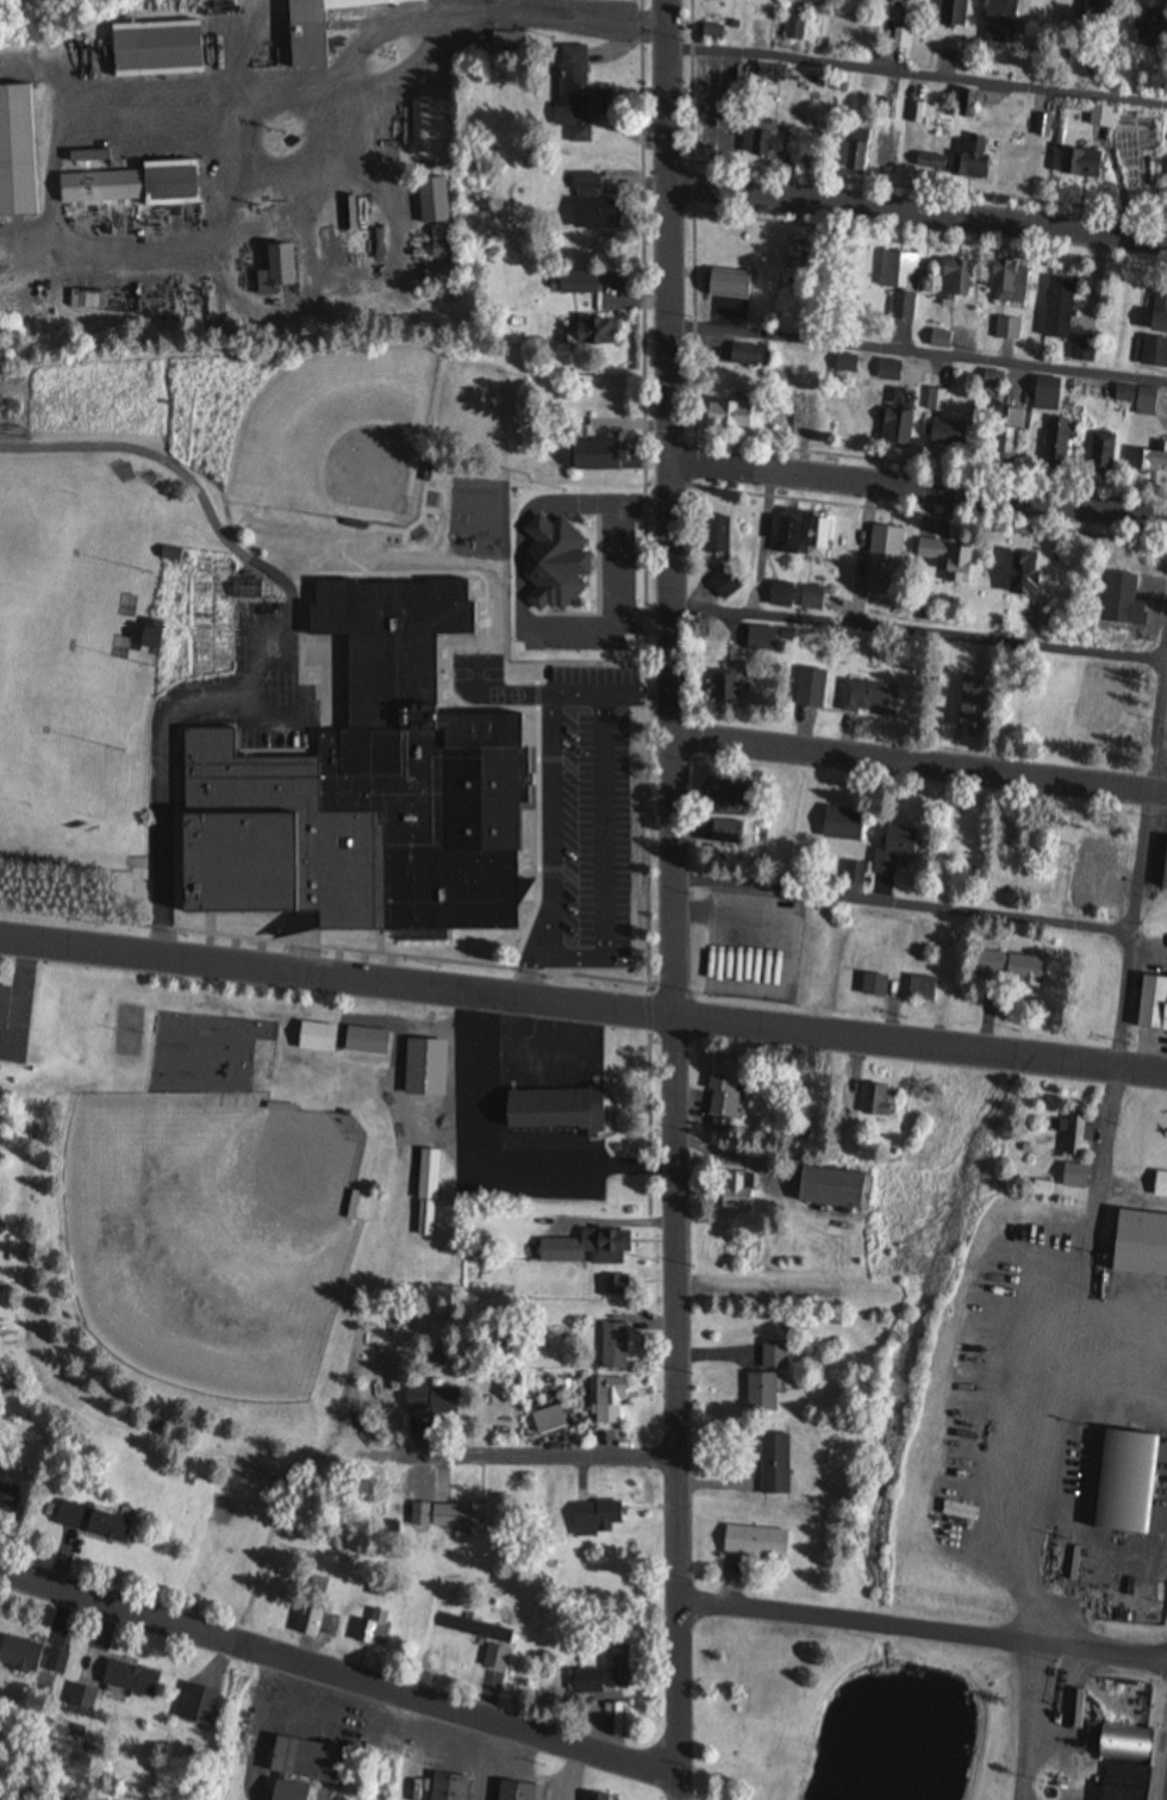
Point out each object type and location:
building: (803, 0)
building: (886, 0)
building: (950, 14)
building: (1097, 15)
building: (998, 21)
building: (319, 27)
building: (1146, 27)
building: (794, 30)
building: (711, 33)
building: (900, 39)
building: (154, 50)
road: (918, 75)
building: (573, 92)
building: (966, 105)
building: (917, 113)
building: (1099, 117)
building: (767, 141)
building: (856, 151)
building: (17, 152)
building: (882, 152)
building: (972, 158)
building: (929, 162)
building: (1081, 164)
building: (135, 186)
building: (589, 206)
road: (918, 212)
building: (428, 213)
building: (770, 259)
building: (274, 270)
building: (953, 281)
building: (900, 282)
building: (575, 284)
building: (726, 284)
building: (1006, 284)
building: (1056, 310)
building: (1157, 313)
building: (1007, 329)
building: (599, 332)
building: (938, 340)
building: (1080, 350)
road: (918, 353)
building: (1152, 353)
building: (753, 357)
building: (843, 365)
building: (888, 370)
building: (992, 379)
building: (1047, 394)
building: (1138, 398)
building: (935, 399)
building: (787, 405)
building: (724, 417)
building: (897, 419)
building: (943, 430)
building: (1007, 432)
park: (344, 434)
building: (1057, 448)
building: (1102, 453)
building: (599, 457)
building: (1150, 460)
road: (917, 488)
building: (714, 535)
building: (785, 536)
building: (816, 543)
building: (169, 554)
building: (882, 555)
building: (949, 559)
road: (626, 562)
building: (553, 563)
parking lot: (623, 567)
building: (1025, 569)
road: (513, 579)
building: (252, 590)
building: (780, 596)
building: (812, 598)
road: (285, 634)
road: (917, 635)
building: (146, 637)
building: (765, 639)
park: (67, 647)
building: (728, 679)
parking lot: (258, 686)
building: (809, 687)
road: (563, 695)
building: (868, 698)
building: (969, 703)
road: (919, 765)
building: (373, 791)
building: (718, 792)
parking lot: (587, 821)
building: (837, 824)
road: (553, 828)
building: (726, 832)
building: (892, 846)
building: (1099, 855)
road: (606, 862)
building: (1162, 866)
building: (854, 873)
road: (673, 899)
road: (903, 905)
road: (1135, 924)
building: (426, 936)
building: (1006, 968)
road: (531, 979)
building: (873, 985)
building: (922, 989)
building: (1150, 1004)
building: (2, 1005)
road: (582, 1008)
park: (127, 1032)
building: (319, 1039)
building: (423, 1067)
building: (722, 1085)
building: (872, 1101)
building: (549, 1109)
building: (1075, 1135)
building: (1073, 1176)
building: (1159, 1185)
building: (829, 1189)
building: (1041, 1191)
building: (426, 1194)
building: (736, 1194)
building: (351, 1204)
park: (211, 1237)
park: (238, 1237)
building: (1137, 1245)
building: (583, 1248)
building: (610, 1287)
road: (760, 1293)
building: (612, 1346)
building: (774, 1354)
building: (760, 1393)
road: (322, 1396)
building: (431, 1400)
building: (607, 1401)
road: (1054, 1420)
road: (547, 1456)
building: (1, 1464)
building: (773, 1464)
building: (1124, 1482)
building: (7, 1501)
building: (597, 1514)
building: (456, 1516)
building: (91, 1520)
building: (754, 1543)
building: (318, 1584)
building: (311, 1623)
building: (468, 1627)
building: (374, 1630)
road: (922, 1631)
building: (18, 1655)
building: (56, 1662)
building: (614, 1669)
road: (339, 1675)
building: (127, 1678)
building: (582, 1682)
building: (81, 1699)
park: (845, 1711)
road: (1026, 1721)
building: (1119, 1744)
building: (299, 1769)
building: (1121, 1782)
building: (448, 1787)
building: (517, 1792)
building: (594, 1796)

